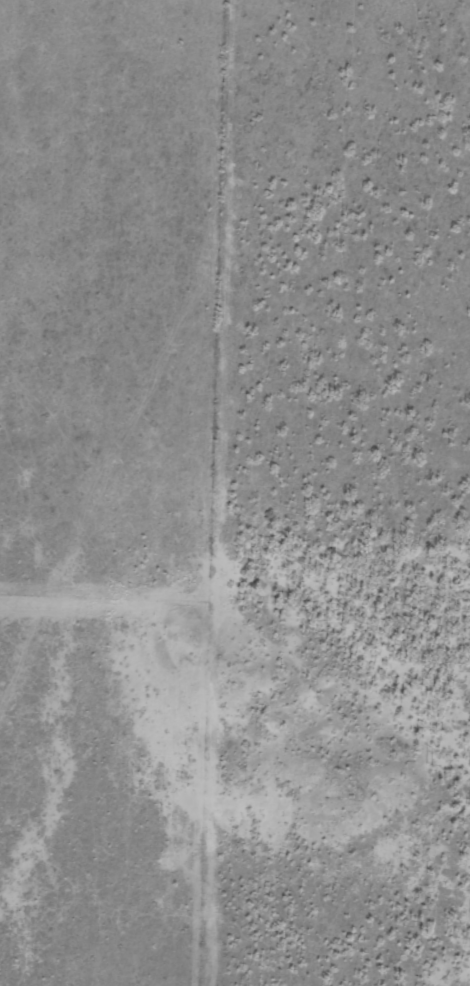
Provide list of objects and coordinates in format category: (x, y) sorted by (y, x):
power tower: (425, 763)

